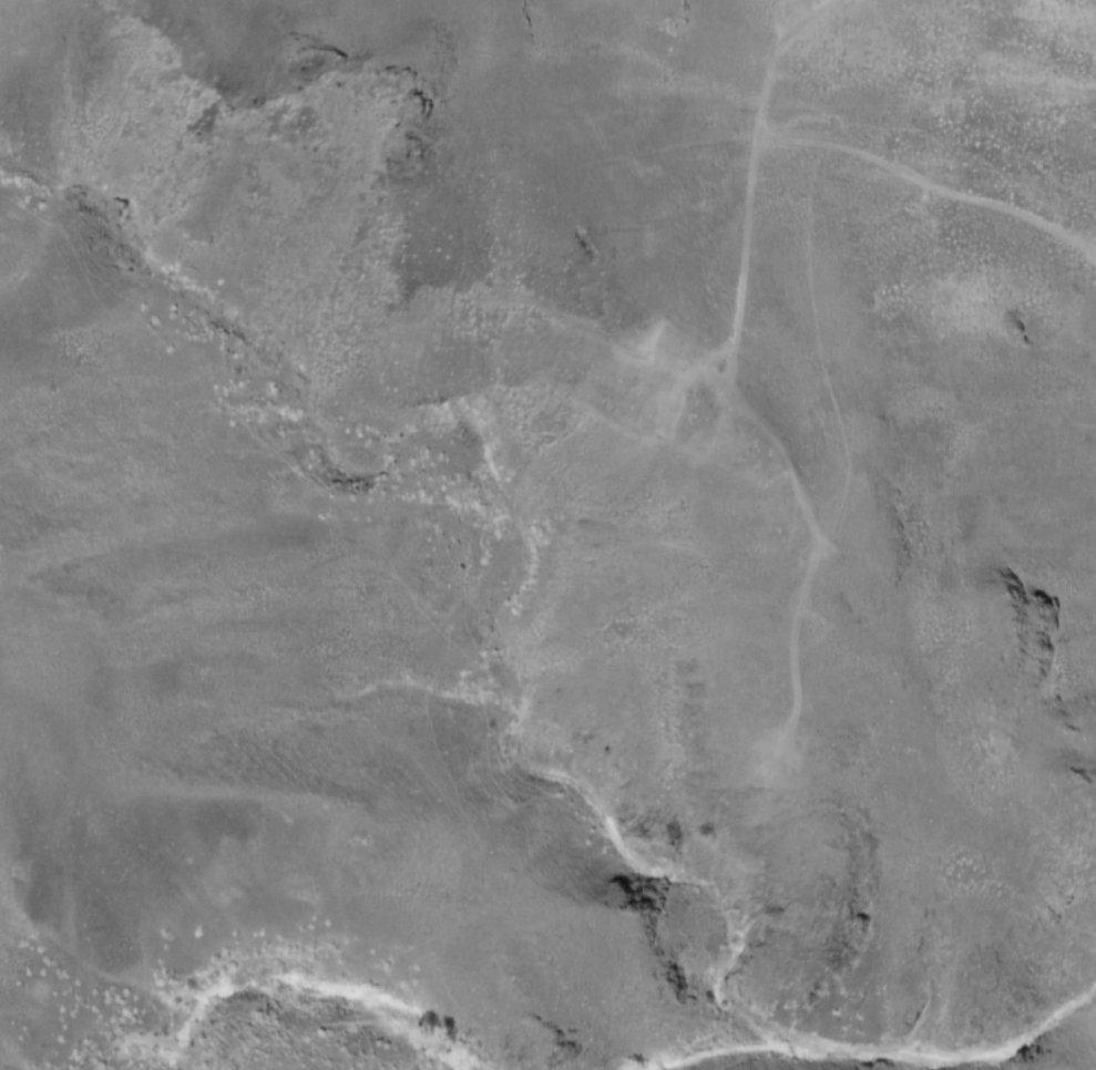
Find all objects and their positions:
road: (925, 178)
road: (709, 370)

